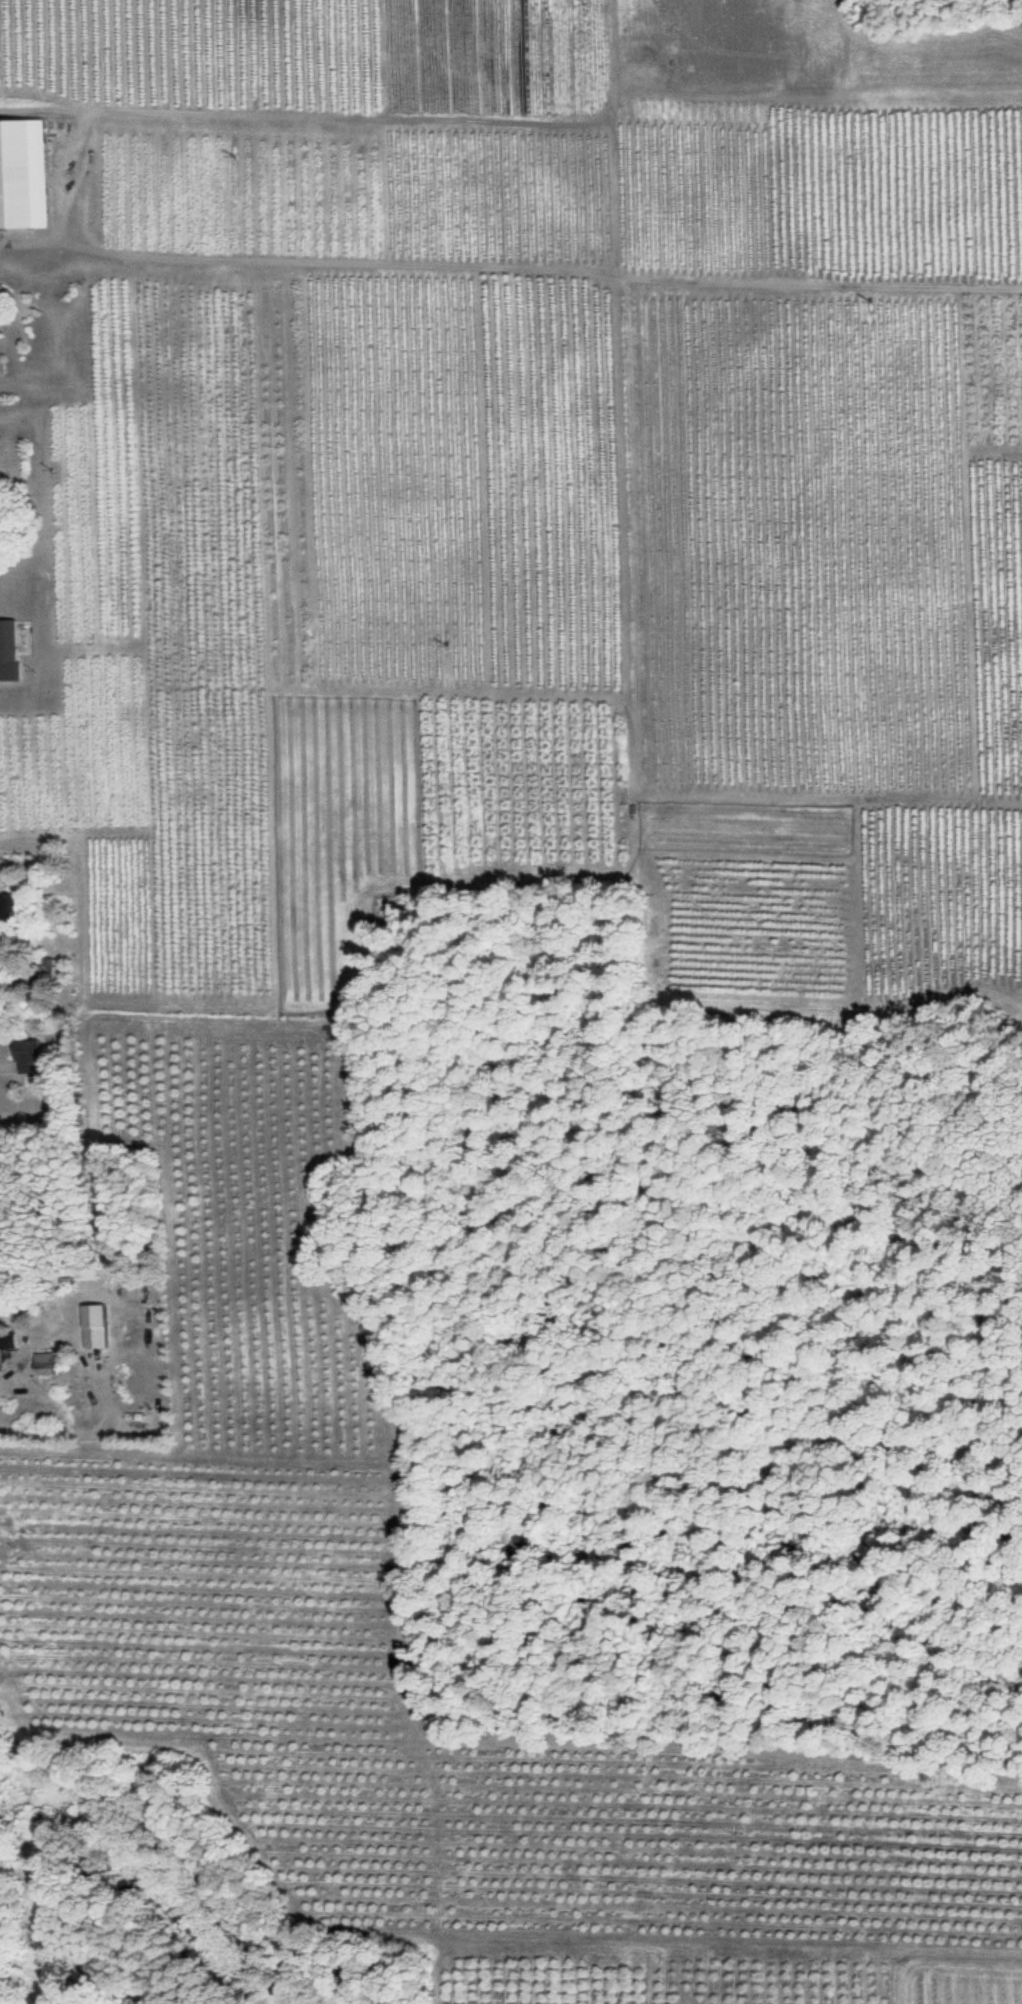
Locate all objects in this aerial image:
building: (24, 178)
building: (1, 294)
building: (1, 371)
building: (10, 651)
building: (11, 909)
building: (31, 1059)
building: (47, 1366)
building: (3, 1473)

